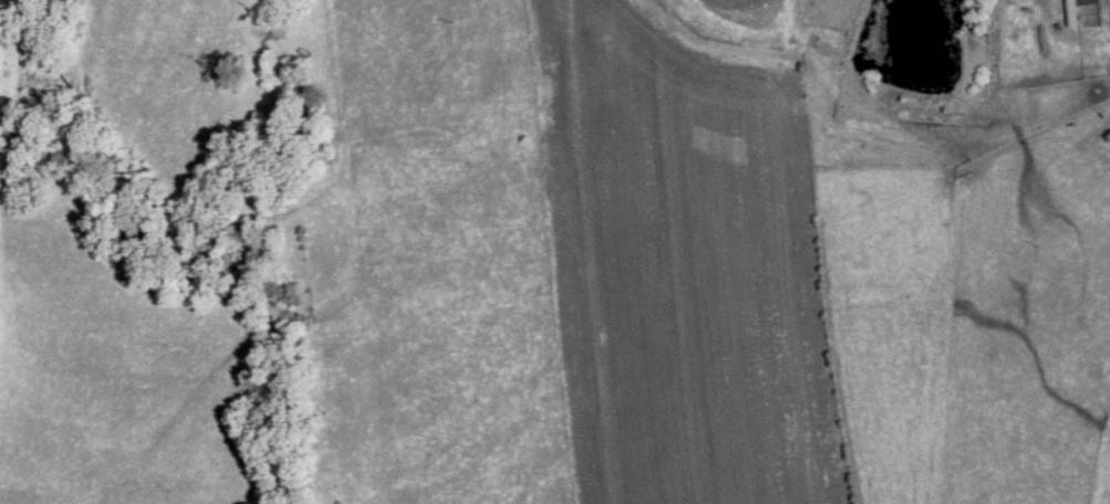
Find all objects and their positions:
building: (1088, 3)

